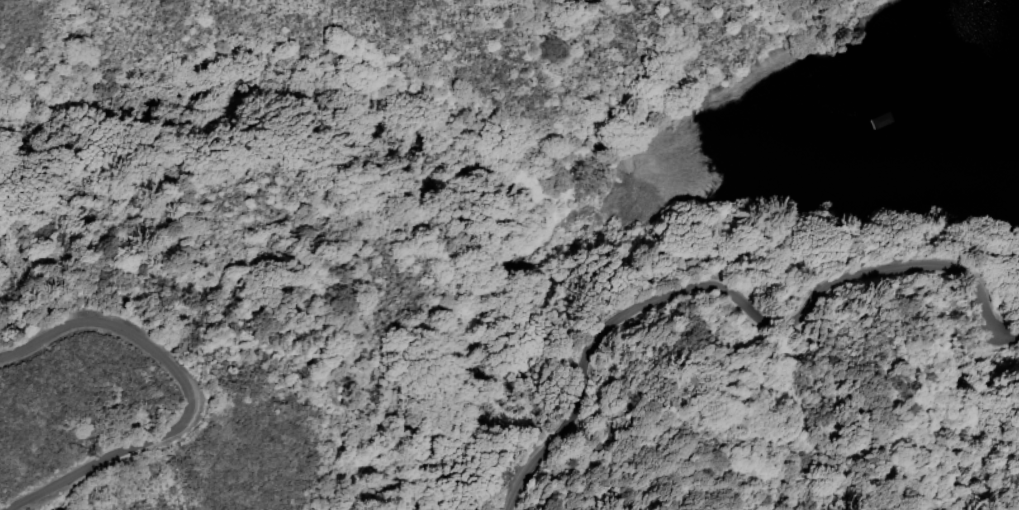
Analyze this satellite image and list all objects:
road: (737, 290)
road: (187, 392)

